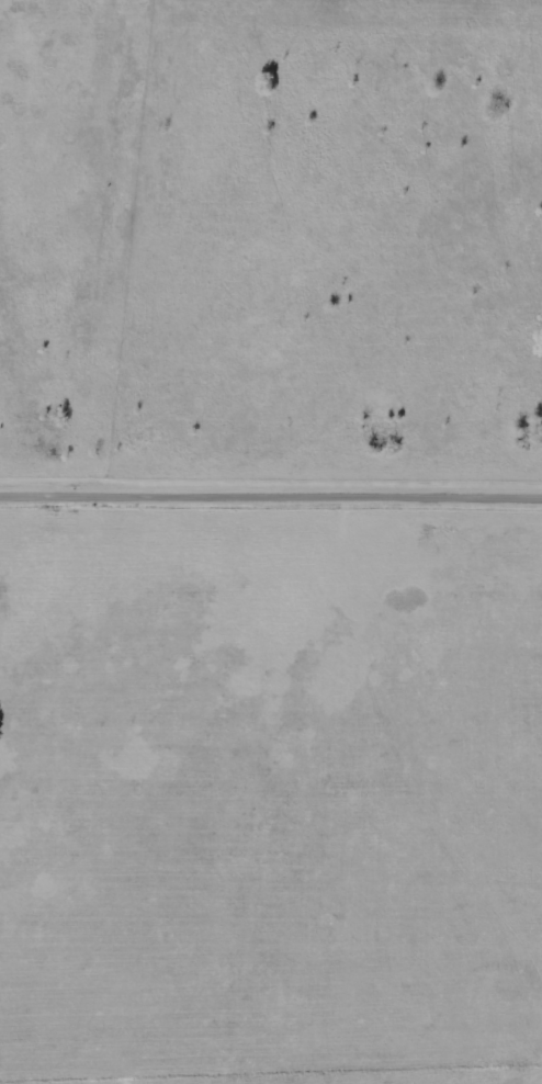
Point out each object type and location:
road: (271, 501)

